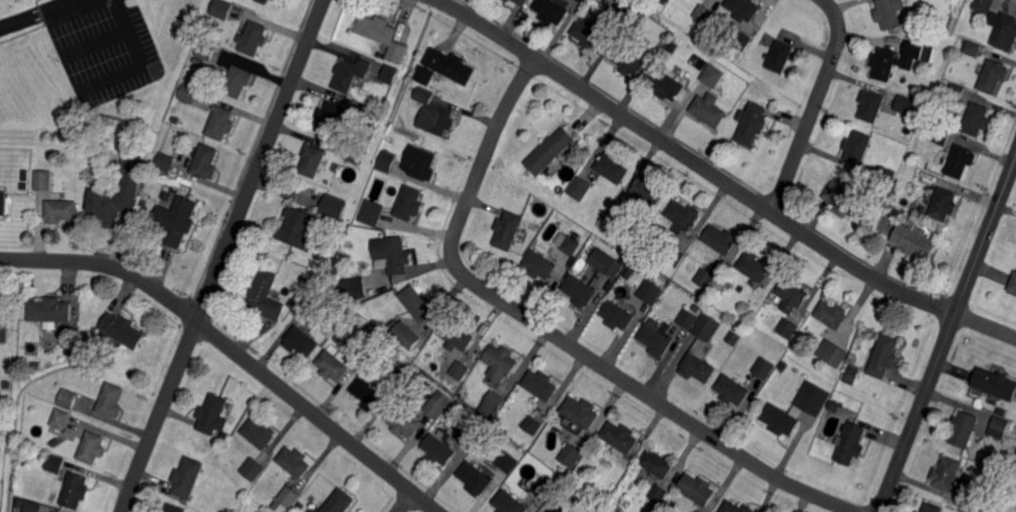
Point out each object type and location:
building: (507, 0)
building: (669, 0)
building: (707, 0)
building: (263, 1)
building: (582, 1)
building: (602, 1)
building: (522, 2)
building: (984, 5)
building: (222, 8)
building: (743, 9)
building: (552, 11)
road: (37, 12)
building: (622, 13)
building: (704, 13)
building: (889, 13)
building: (376, 28)
building: (1006, 32)
building: (590, 33)
building: (254, 38)
building: (743, 41)
road: (92, 42)
building: (973, 49)
building: (206, 50)
building: (400, 54)
building: (780, 56)
building: (630, 57)
building: (895, 61)
road: (140, 64)
building: (451, 65)
building: (351, 73)
building: (389, 75)
building: (425, 75)
building: (713, 75)
building: (994, 75)
building: (238, 80)
building: (667, 85)
building: (189, 92)
building: (956, 92)
building: (425, 95)
building: (905, 104)
road: (814, 105)
building: (872, 105)
building: (709, 109)
building: (742, 113)
building: (367, 115)
building: (329, 116)
building: (442, 119)
building: (977, 119)
building: (221, 122)
building: (752, 125)
building: (938, 134)
building: (354, 143)
building: (858, 146)
building: (550, 151)
building: (353, 156)
building: (312, 159)
building: (165, 161)
building: (205, 161)
building: (387, 161)
building: (961, 161)
building: (420, 162)
building: (611, 168)
building: (131, 172)
building: (23, 175)
building: (886, 176)
road: (720, 178)
building: (43, 180)
building: (24, 185)
building: (580, 187)
building: (648, 190)
building: (845, 200)
building: (3, 202)
building: (409, 202)
building: (944, 204)
building: (110, 206)
building: (334, 206)
building: (61, 210)
building: (372, 212)
building: (684, 214)
building: (176, 220)
building: (534, 224)
building: (298, 228)
building: (508, 230)
building: (721, 239)
building: (915, 242)
building: (348, 245)
building: (570, 245)
building: (590, 247)
building: (391, 254)
road: (222, 255)
building: (674, 256)
building: (606, 263)
building: (539, 264)
building: (338, 266)
building: (754, 267)
building: (628, 273)
building: (303, 278)
building: (709, 280)
building: (1013, 285)
building: (352, 289)
building: (579, 290)
building: (650, 291)
building: (792, 294)
building: (264, 295)
building: (312, 299)
building: (417, 303)
building: (50, 310)
building: (832, 314)
building: (617, 315)
building: (688, 318)
building: (707, 327)
building: (788, 328)
building: (122, 329)
building: (4, 333)
building: (405, 335)
building: (457, 335)
road: (556, 335)
road: (947, 335)
building: (733, 337)
building: (337, 339)
building: (301, 340)
building: (655, 340)
road: (232, 350)
building: (418, 350)
building: (832, 354)
building: (885, 356)
building: (501, 362)
building: (333, 365)
building: (783, 365)
building: (698, 368)
building: (764, 368)
building: (460, 369)
building: (851, 375)
building: (399, 376)
building: (996, 383)
building: (540, 384)
building: (731, 390)
building: (367, 393)
building: (68, 398)
building: (814, 398)
building: (111, 400)
building: (492, 405)
building: (834, 407)
building: (435, 408)
building: (1002, 410)
building: (581, 411)
building: (212, 413)
building: (60, 418)
building: (781, 420)
building: (403, 421)
building: (1, 424)
building: (533, 425)
building: (1000, 427)
building: (964, 428)
building: (259, 433)
building: (472, 434)
building: (618, 437)
building: (852, 443)
building: (92, 447)
building: (439, 449)
building: (589, 453)
building: (571, 455)
building: (293, 461)
building: (508, 462)
building: (657, 463)
building: (54, 464)
building: (253, 468)
building: (947, 473)
building: (187, 477)
building: (475, 478)
building: (545, 487)
building: (697, 489)
building: (76, 490)
building: (659, 493)
building: (290, 496)
building: (339, 501)
road: (405, 502)
building: (19, 503)
building: (509, 503)
building: (972, 503)
building: (32, 507)
building: (932, 507)
building: (175, 508)
building: (736, 508)
building: (984, 510)
building: (314, 511)
building: (693, 511)
building: (919, 511)

